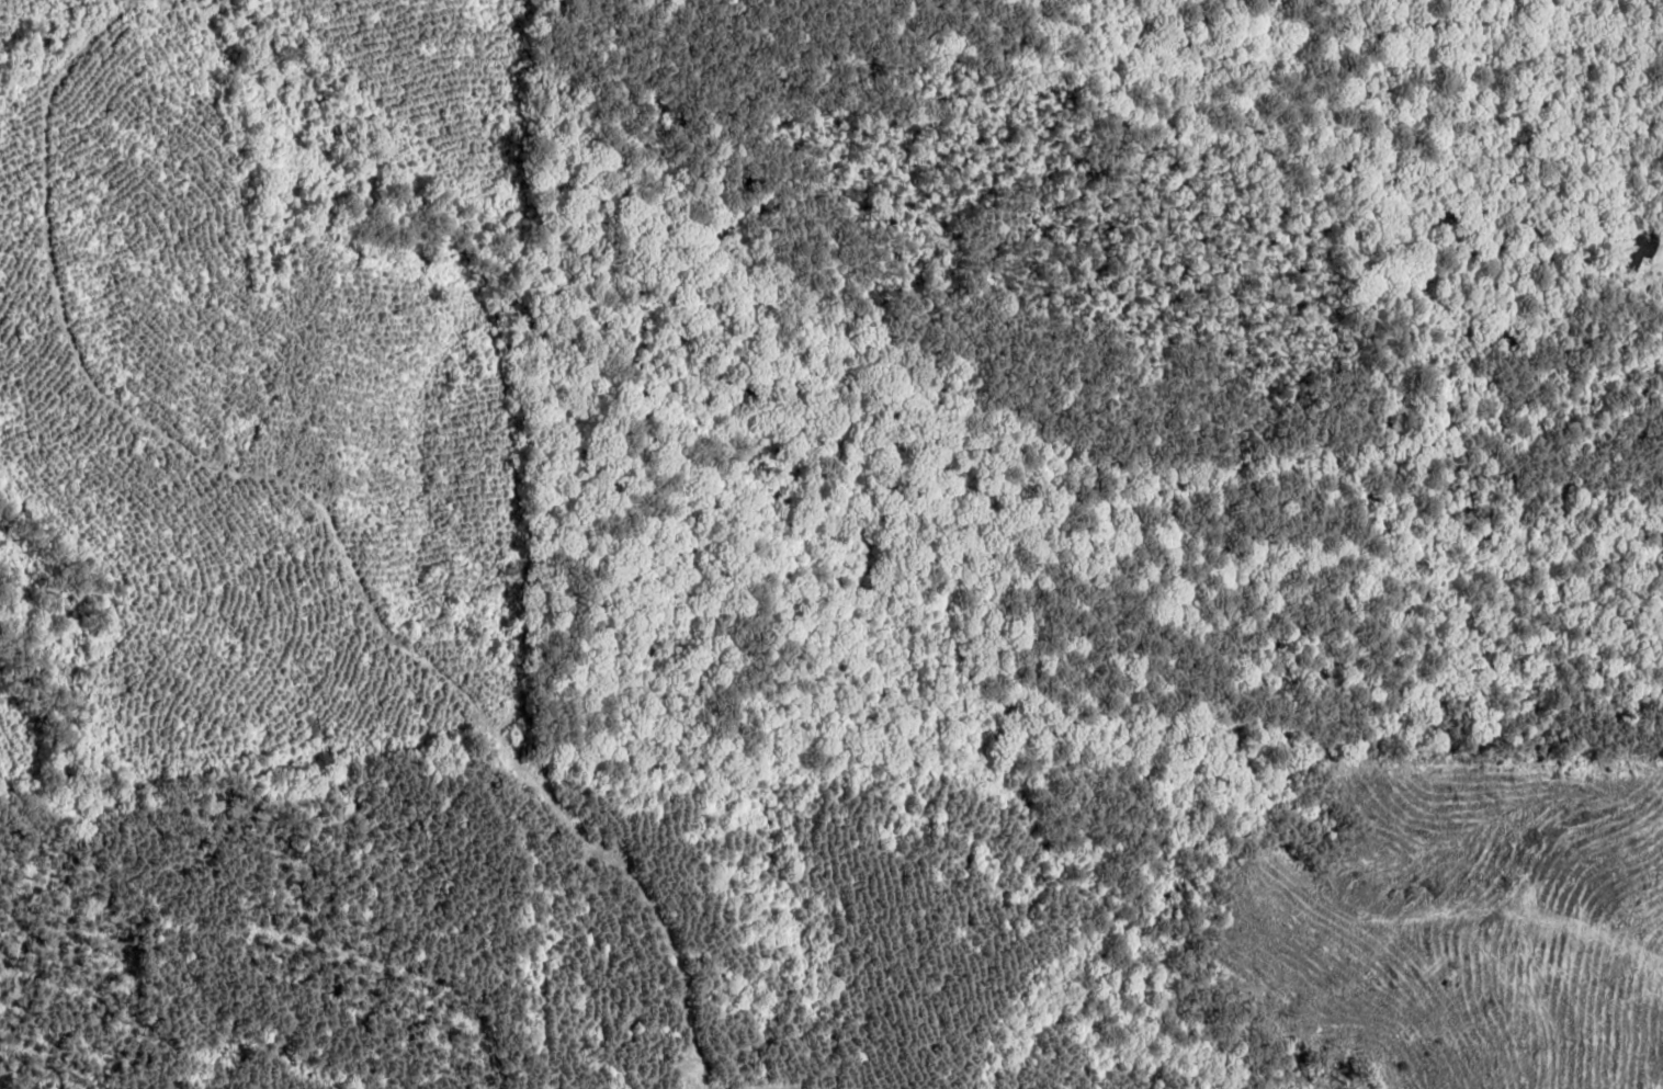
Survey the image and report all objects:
building: (1637, 254)

